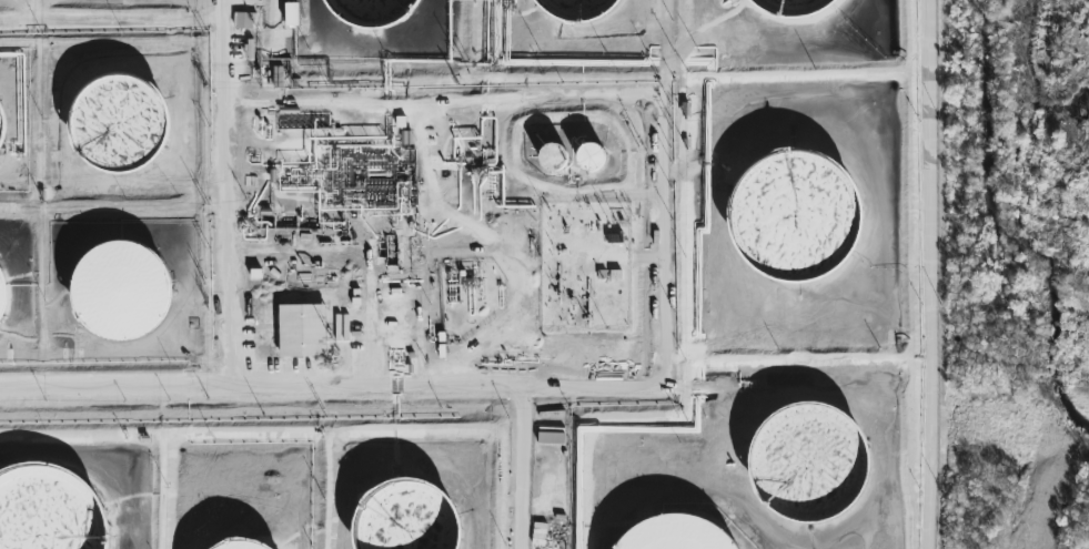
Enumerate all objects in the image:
building: (576, 10)
storage tank: (576, 10)
building: (788, 10)
storage tank: (788, 10)
building: (373, 11)
storage tank: (373, 11)
building: (293, 13)
building: (244, 20)
building: (0, 129)
storage tank: (0, 129)
building: (117, 129)
storage tank: (117, 129)
building: (552, 160)
storage tank: (552, 160)
building: (589, 160)
storage tank: (589, 160)
building: (791, 223)
storage tank: (791, 223)
road: (927, 274)
building: (117, 294)
storage tank: (117, 294)
building: (0, 297)
storage tank: (0, 297)
road: (236, 309)
building: (303, 329)
road: (589, 385)
building: (551, 435)
building: (804, 466)
storage tank: (804, 466)
road: (522, 467)
building: (47, 514)
storage tank: (47, 514)
building: (404, 520)
storage tank: (404, 520)
building: (673, 537)
storage tank: (673, 537)
building: (235, 548)
storage tank: (235, 548)

